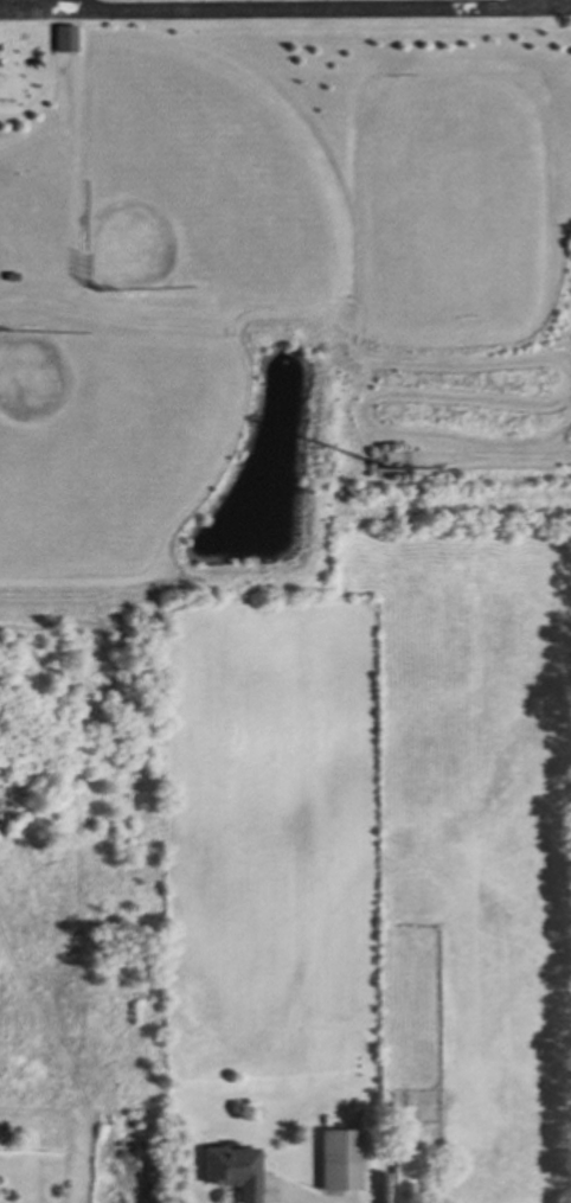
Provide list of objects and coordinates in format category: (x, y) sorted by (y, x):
road: (533, 1)
road: (284, 7)
building: (9, 274)
building: (393, 475)
crop: (380, 837)
building: (351, 1111)
building: (323, 1116)
building: (338, 1154)
building: (404, 1166)
building: (231, 1171)

